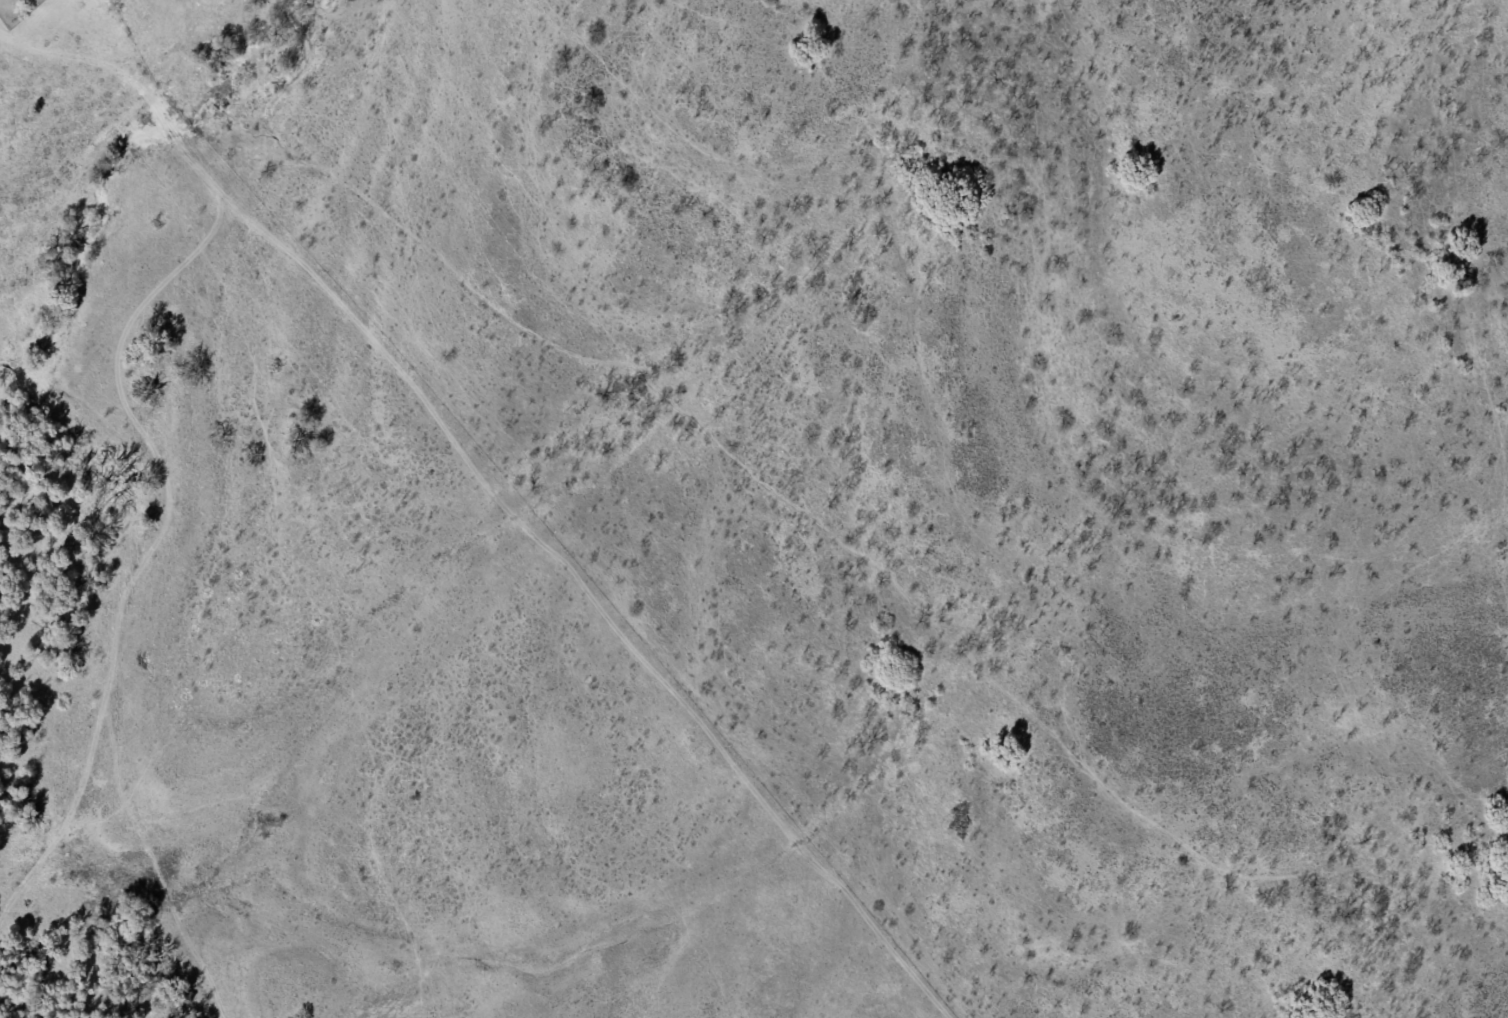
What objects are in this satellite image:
road: (365, 195)

